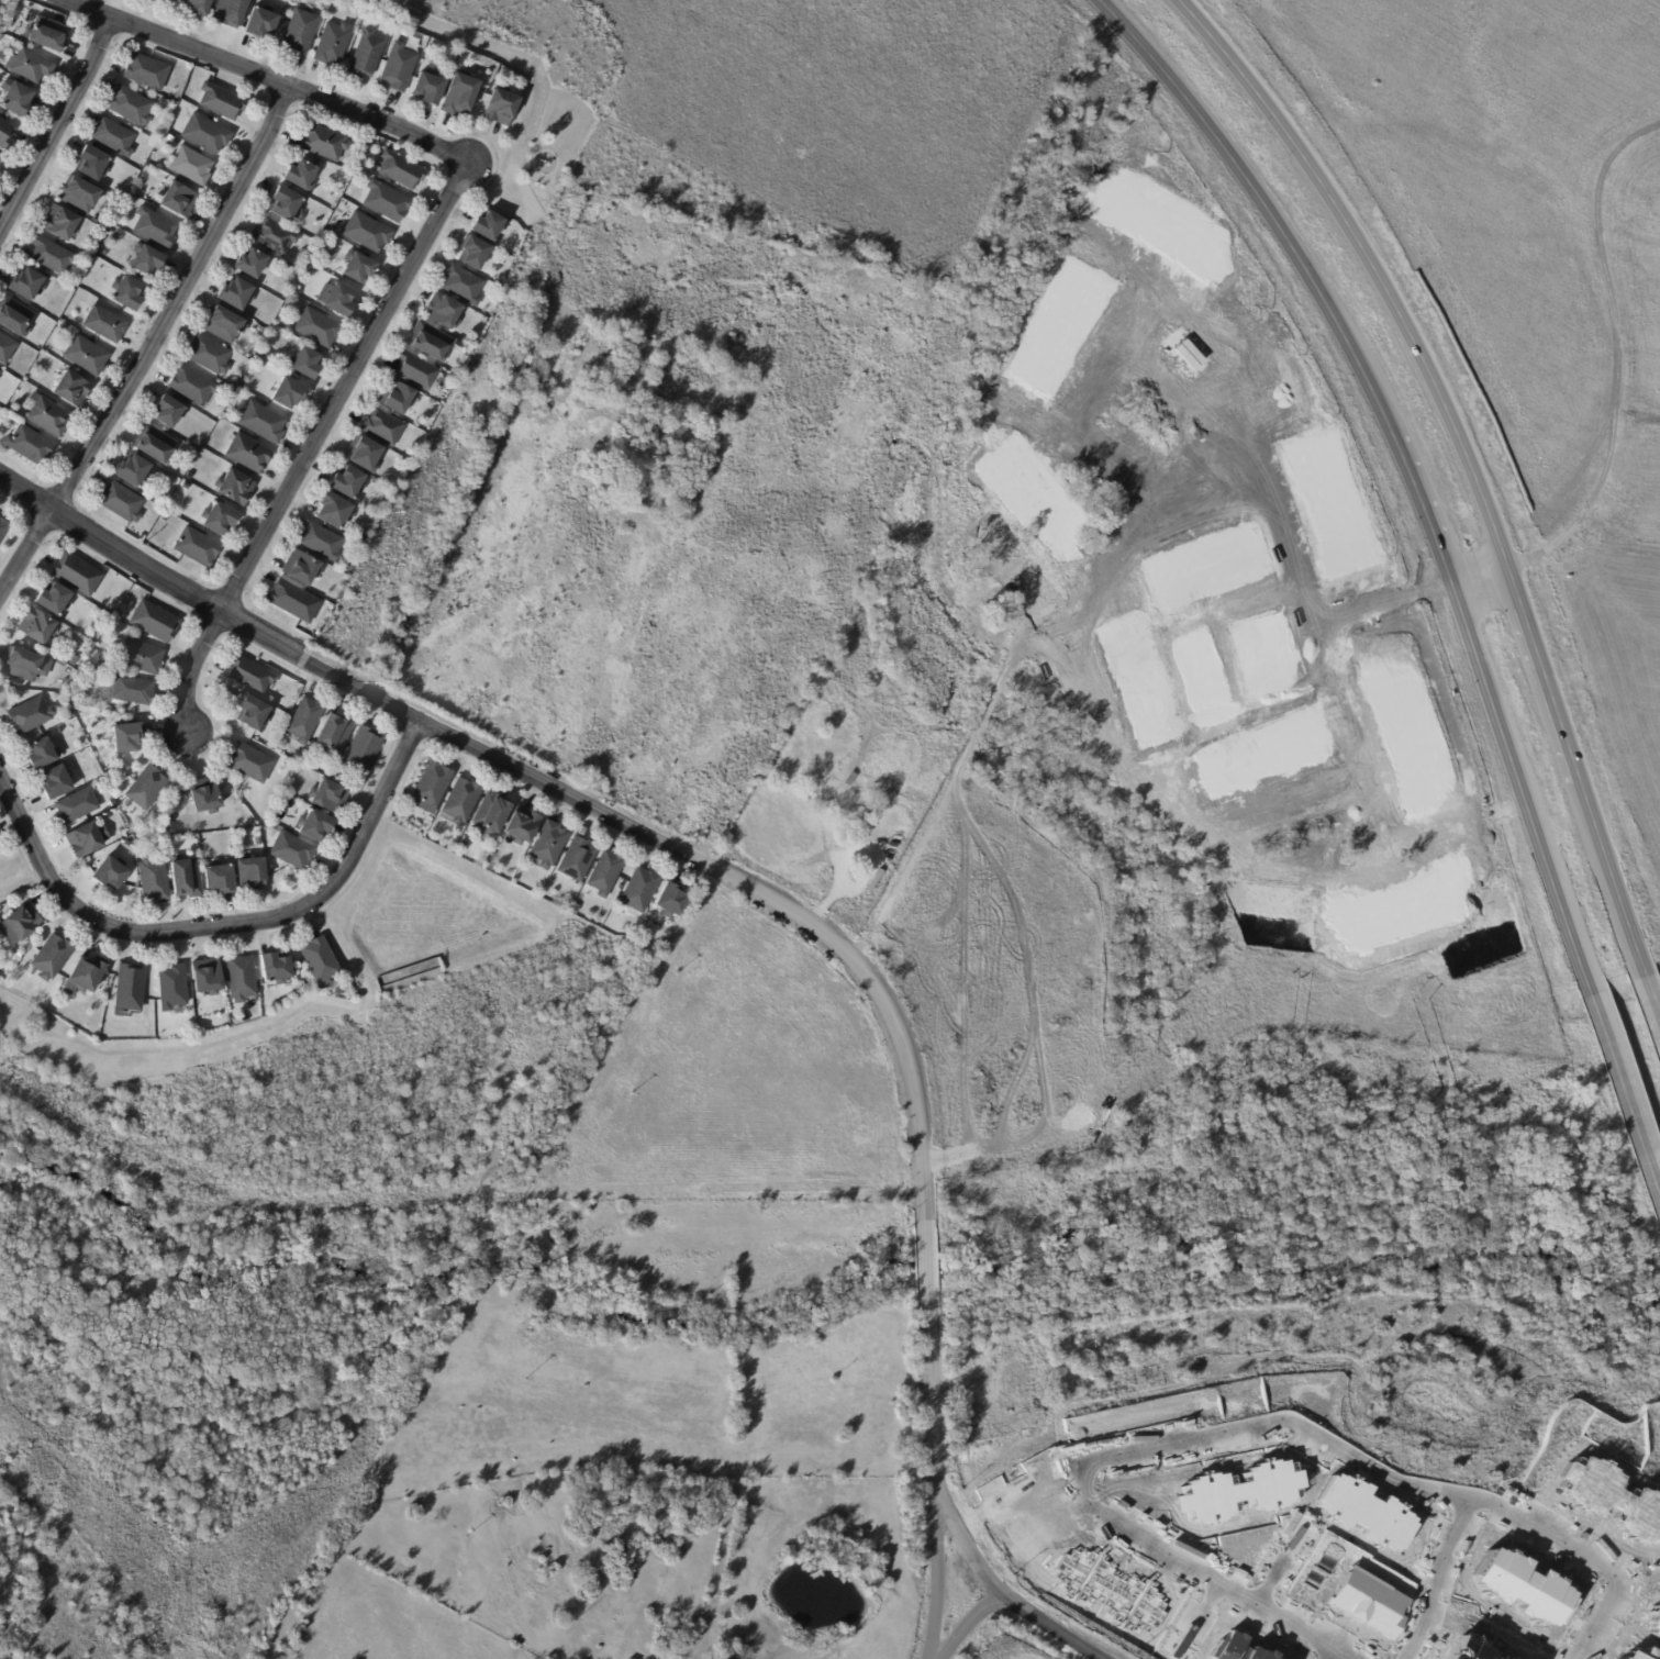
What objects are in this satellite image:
building: (175, 0)
building: (168, 1)
building: (198, 7)
building: (233, 12)
building: (263, 24)
building: (302, 33)
building: (47, 34)
building: (1, 38)
building: (335, 44)
building: (369, 55)
building: (31, 66)
building: (401, 68)
building: (148, 73)
road: (255, 80)
building: (428, 89)
building: (460, 96)
building: (19, 100)
building: (223, 102)
building: (132, 107)
building: (502, 109)
road: (55, 132)
building: (5, 135)
building: (208, 135)
building: (115, 137)
building: (171, 140)
building: (325, 144)
building: (1, 163)
building: (92, 163)
building: (193, 166)
building: (403, 171)
building: (302, 176)
building: (81, 196)
building: (178, 199)
building: (388, 202)
building: (286, 204)
road: (1263, 207)
building: (60, 223)
building: (489, 225)
building: (157, 229)
building: (369, 233)
building: (276, 237)
building: (326, 250)
building: (474, 252)
building: (104, 254)
building: (53, 256)
building: (149, 259)
building: (253, 265)
building: (359, 268)
road: (1372, 268)
building: (463, 285)
building: (27, 286)
building: (127, 292)
building: (298, 292)
building: (237, 294)
building: (339, 300)
building: (447, 312)
building: (15, 318)
building: (107, 325)
building: (225, 325)
building: (320, 329)
building: (463, 336)
building: (432, 343)
road: (148, 345)
building: (7, 349)
building: (210, 356)
building: (89, 358)
building: (305, 365)
building: (419, 371)
building: (0, 375)
building: (521, 375)
building: (456, 378)
building: (244, 386)
building: (192, 387)
building: (73, 389)
building: (290, 396)
building: (397, 398)
building: (169, 412)
building: (49, 419)
building: (265, 423)
building: (385, 426)
building: (31, 446)
building: (156, 446)
road: (311, 448)
building: (367, 453)
building: (250, 455)
building: (134, 474)
building: (348, 480)
building: (186, 487)
building: (235, 488)
building: (121, 503)
building: (336, 510)
road: (1425, 513)
building: (165, 519)
building: (219, 519)
building: (3, 530)
building: (364, 539)
building: (323, 542)
building: (199, 548)
building: (348, 567)
building: (303, 568)
building: (78, 574)
road: (1482, 581)
building: (54, 599)
building: (291, 599)
building: (156, 622)
building: (37, 626)
building: (143, 657)
building: (75, 660)
building: (23, 664)
building: (253, 675)
road: (1544, 680)
building: (131, 690)
building: (254, 713)
building: (70, 714)
building: (30, 715)
building: (308, 720)
building: (335, 735)
building: (127, 738)
building: (365, 750)
building: (42, 754)
building: (253, 764)
building: (848, 777)
building: (56, 783)
road: (1522, 786)
building: (148, 787)
building: (433, 788)
building: (205, 797)
building: (330, 797)
building: (464, 800)
building: (76, 806)
building: (493, 814)
building: (893, 825)
building: (317, 826)
building: (524, 826)
building: (893, 832)
building: (87, 839)
building: (258, 842)
building: (127, 845)
building: (552, 845)
building: (464, 846)
building: (893, 847)
building: (1, 849)
building: (294, 850)
building: (146, 853)
building: (579, 859)
building: (253, 873)
building: (606, 873)
park: (16, 875)
building: (110, 875)
road: (1611, 877)
building: (154, 879)
building: (186, 879)
building: (221, 880)
building: (872, 880)
building: (642, 891)
road: (20, 892)
building: (673, 901)
road: (777, 902)
building: (25, 922)
road: (231, 927)
building: (627, 927)
building: (20, 955)
building: (54, 957)
building: (321, 960)
building: (277, 969)
building: (86, 976)
building: (210, 977)
building: (242, 978)
building: (174, 987)
building: (131, 988)
building: (341, 991)
road: (1650, 996)
road: (233, 1037)
park: (346, 1083)
road: (1624, 1089)
road: (1248, 1430)
building: (1240, 1491)
building: (1613, 1496)
building: (1368, 1511)
road: (937, 1563)
road: (1441, 1580)
building: (1525, 1586)
building: (1111, 1591)
building: (1368, 1602)
building: (1656, 1618)
road: (968, 1623)
building: (1183, 1640)
building: (1238, 1648)
building: (1473, 1649)
building: (1644, 1654)
road: (1339, 1657)
road: (1343, 1657)
building: (628, 1658)
building: (729, 1658)
building: (1515, 1658)

